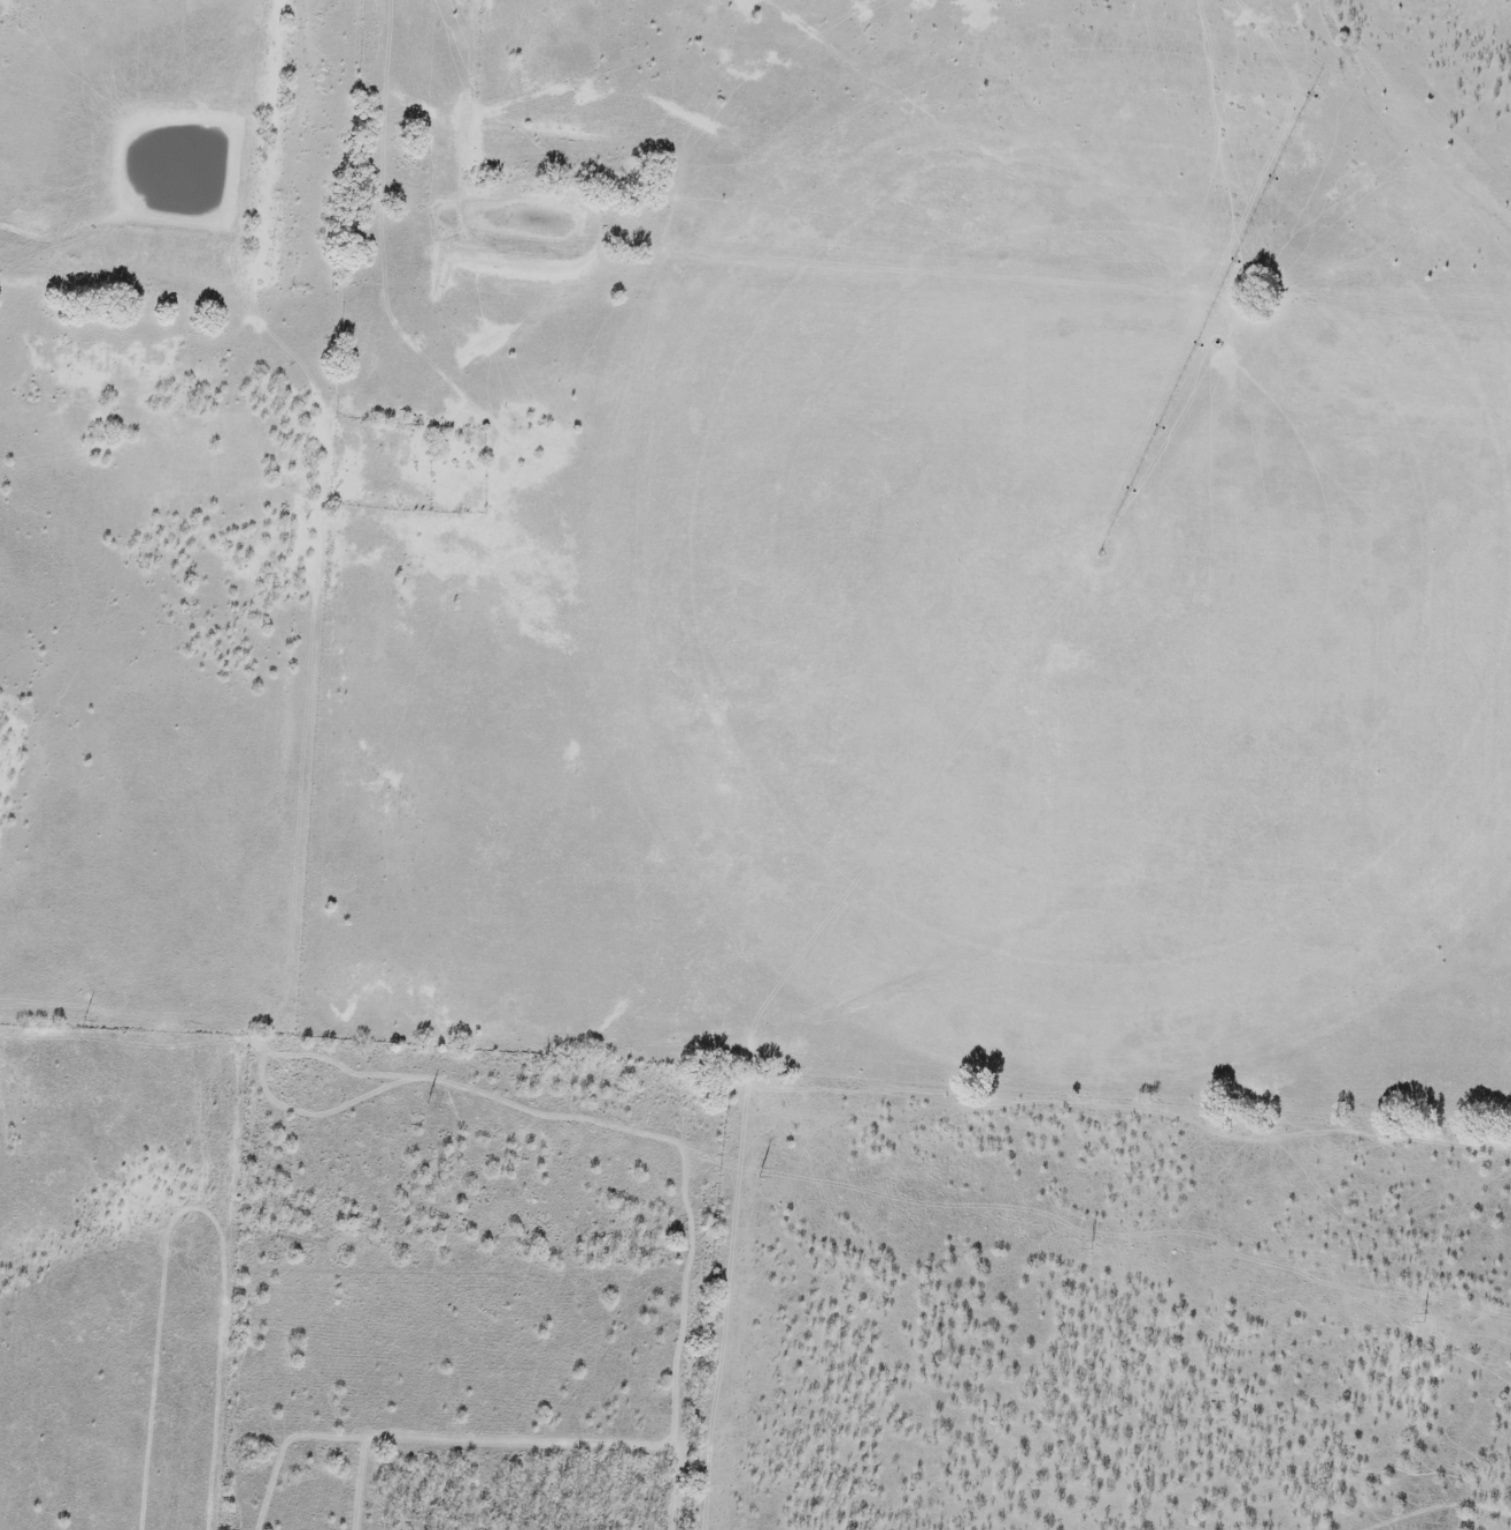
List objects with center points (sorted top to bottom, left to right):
power tower: (82, 1021)
power tower: (428, 1097)
power tower: (760, 1170)
power tower: (1093, 1241)
power tower: (1426, 1315)

